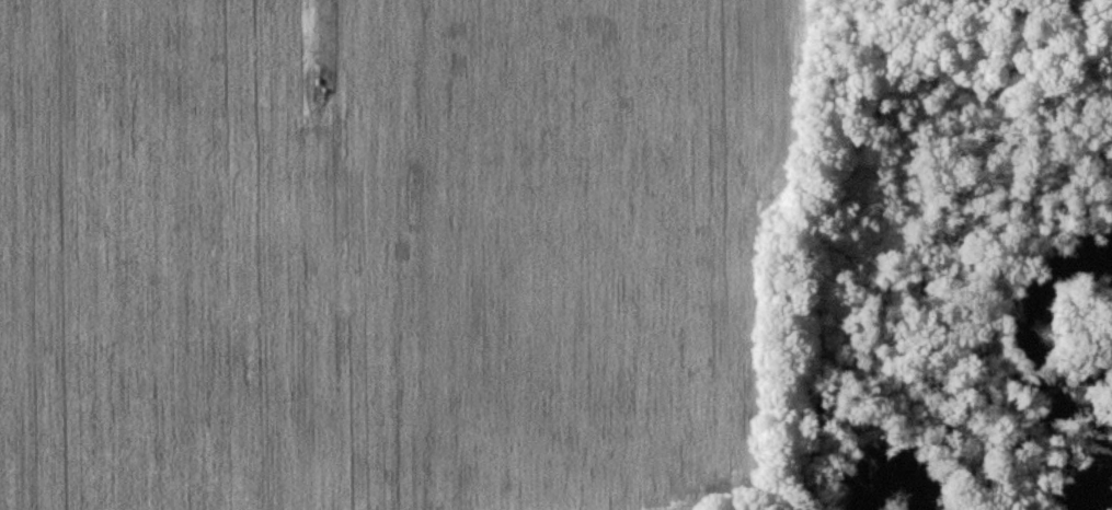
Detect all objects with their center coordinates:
river: (1067, 386)
river: (891, 491)

